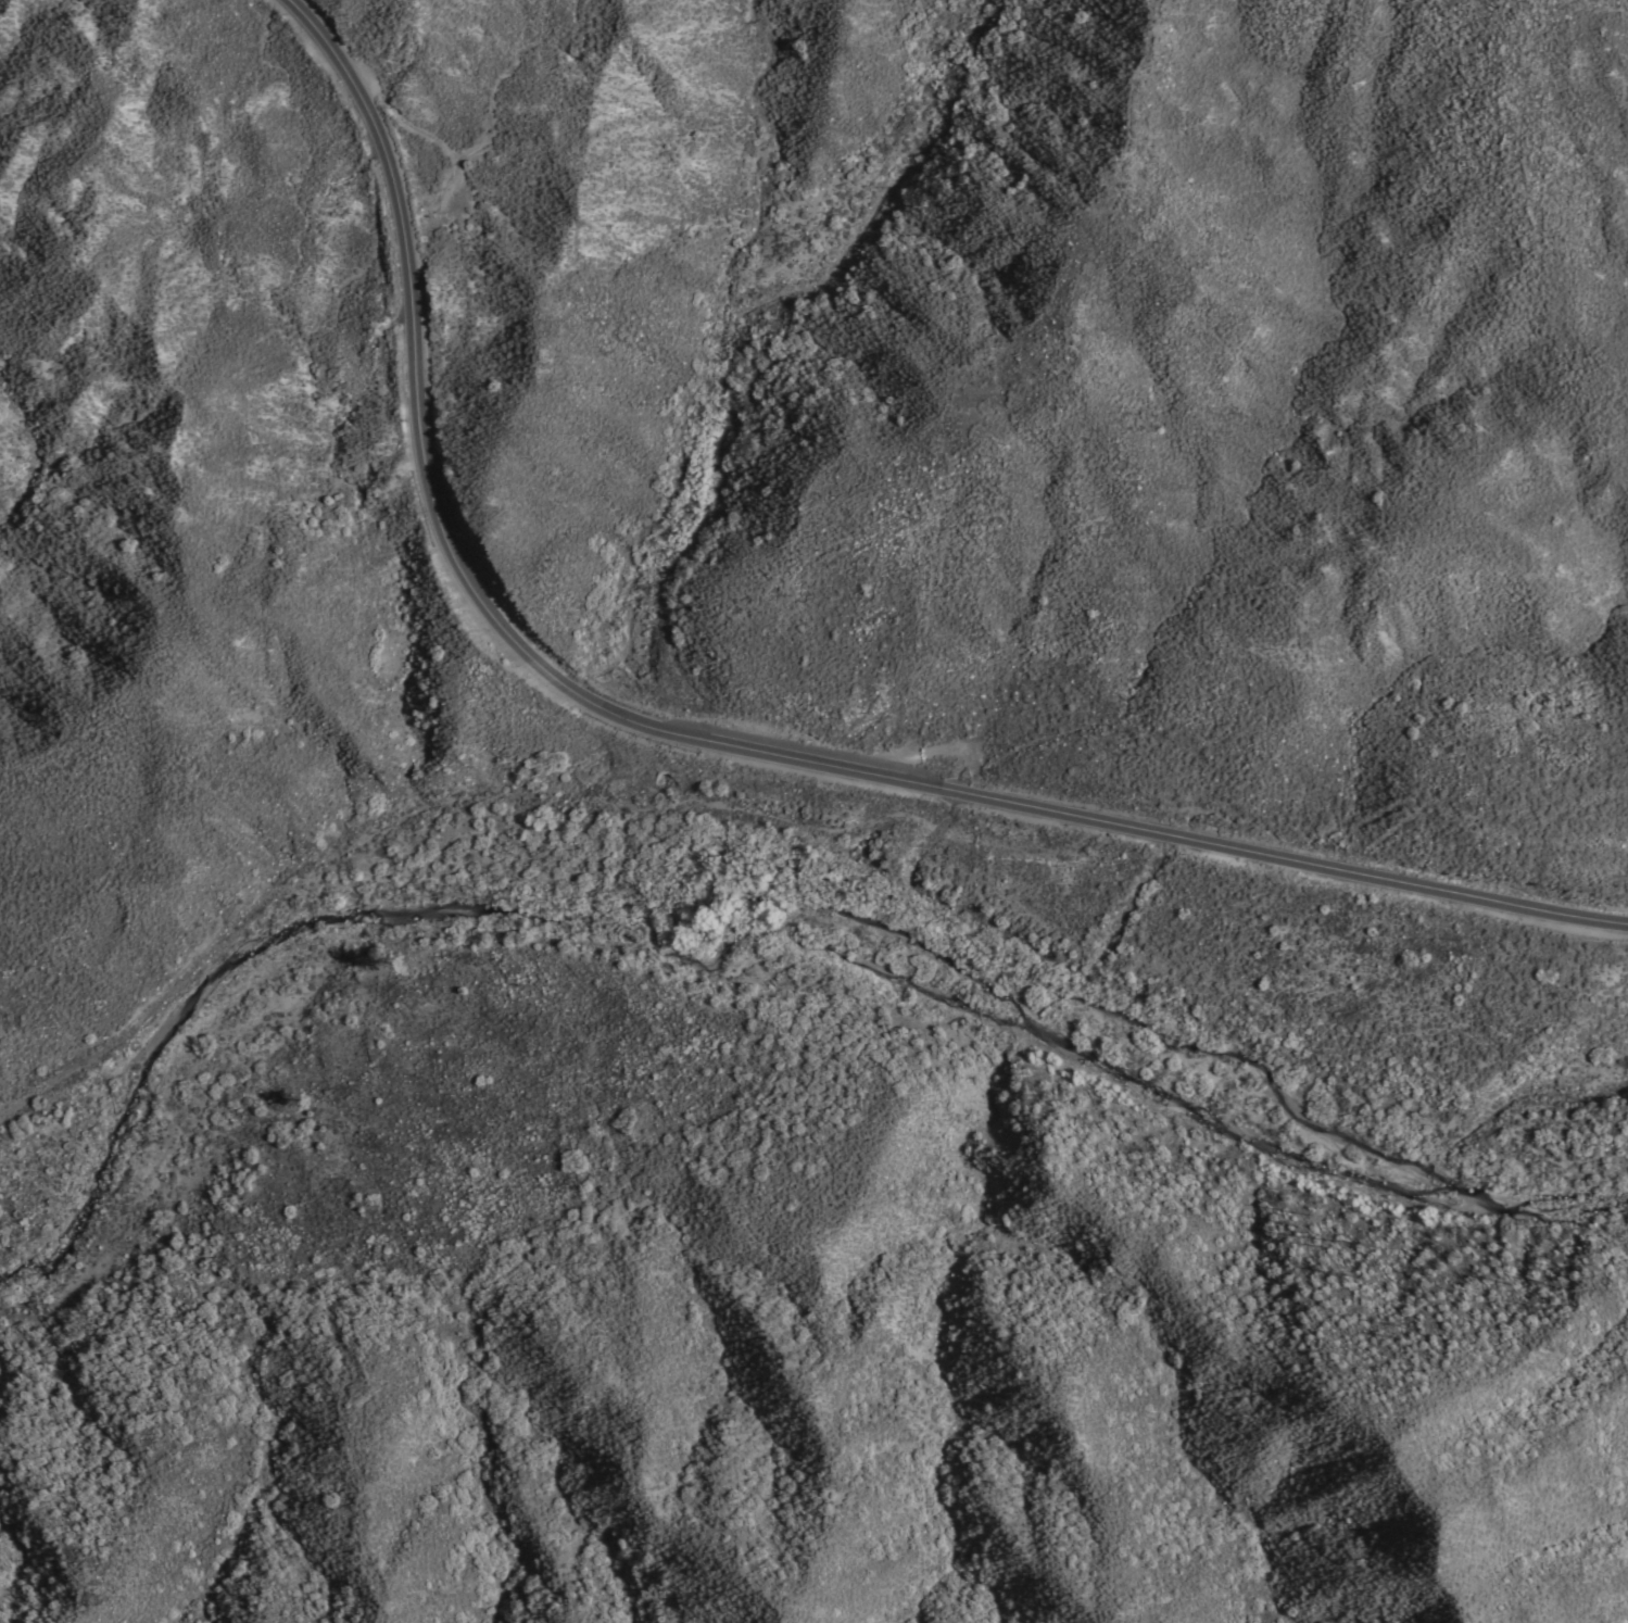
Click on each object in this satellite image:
road: (714, 744)
river: (769, 908)

